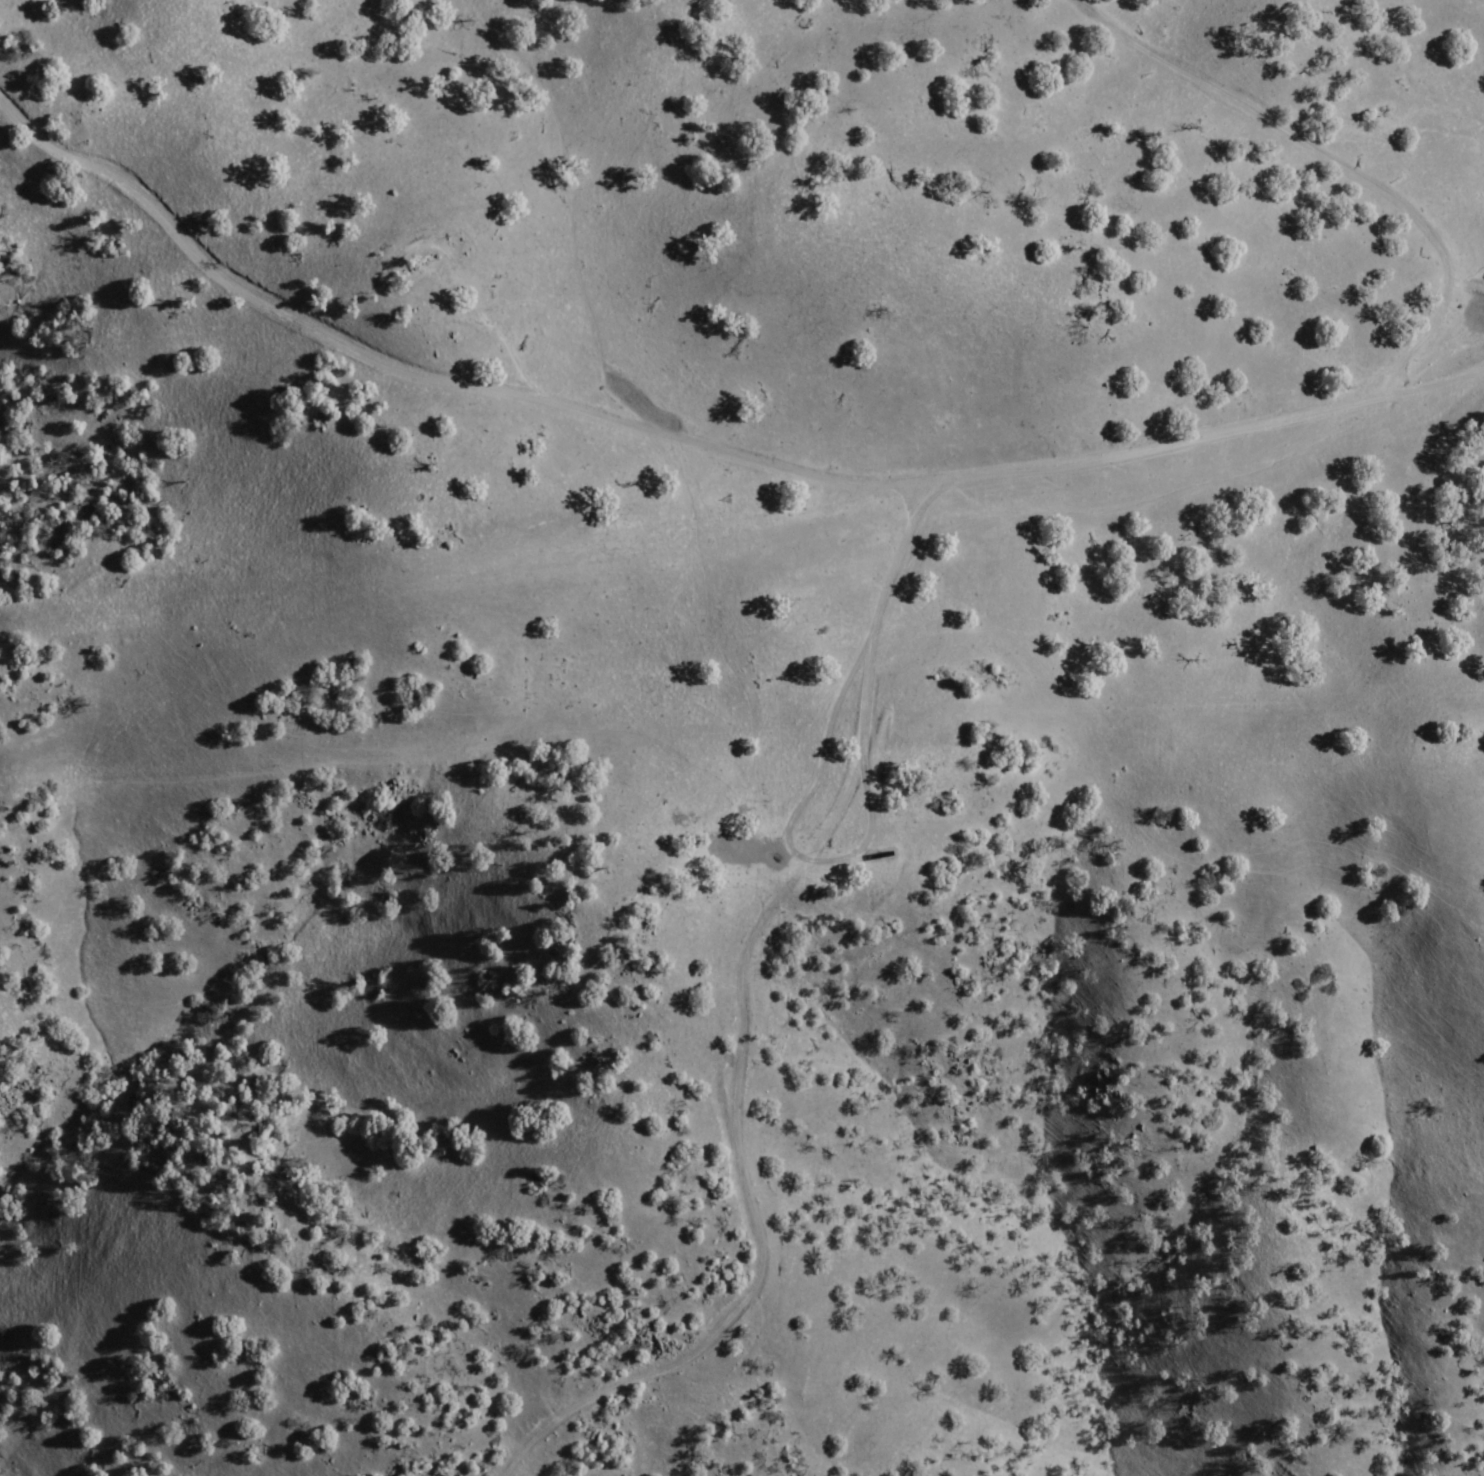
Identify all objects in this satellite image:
road: (1215, 158)
road: (701, 458)
road: (723, 1028)

